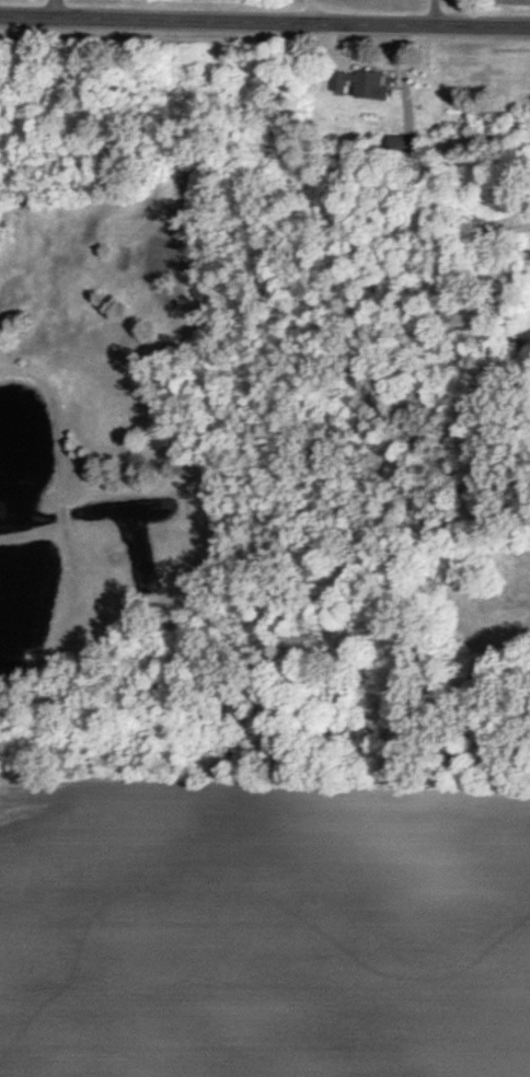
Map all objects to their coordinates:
crop: (518, 2)
road: (309, 11)
road: (265, 21)
building: (362, 83)
building: (407, 144)
crop: (264, 928)

